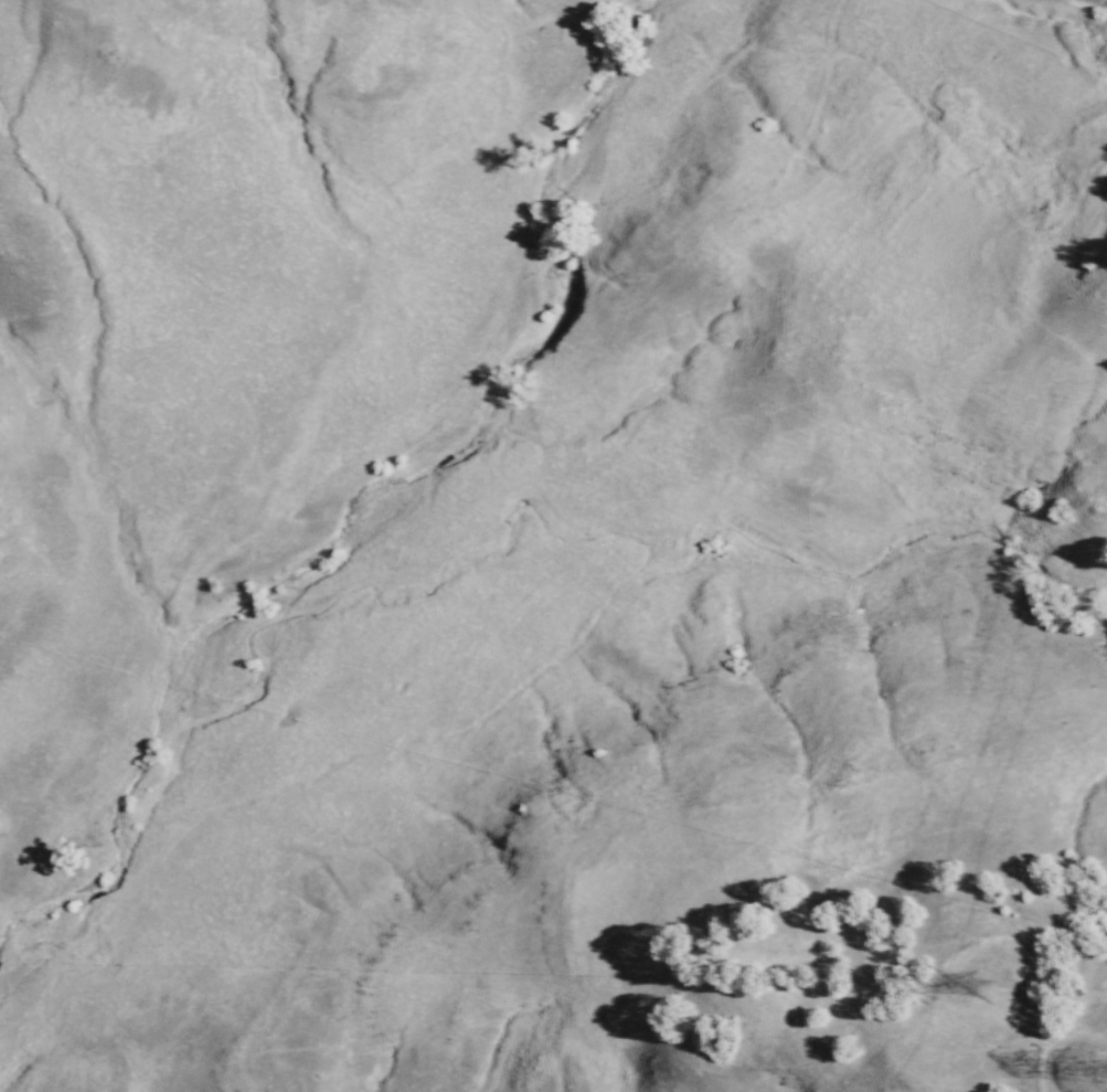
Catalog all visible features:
power tower: (981, 989)
power tower: (1078, 1057)

